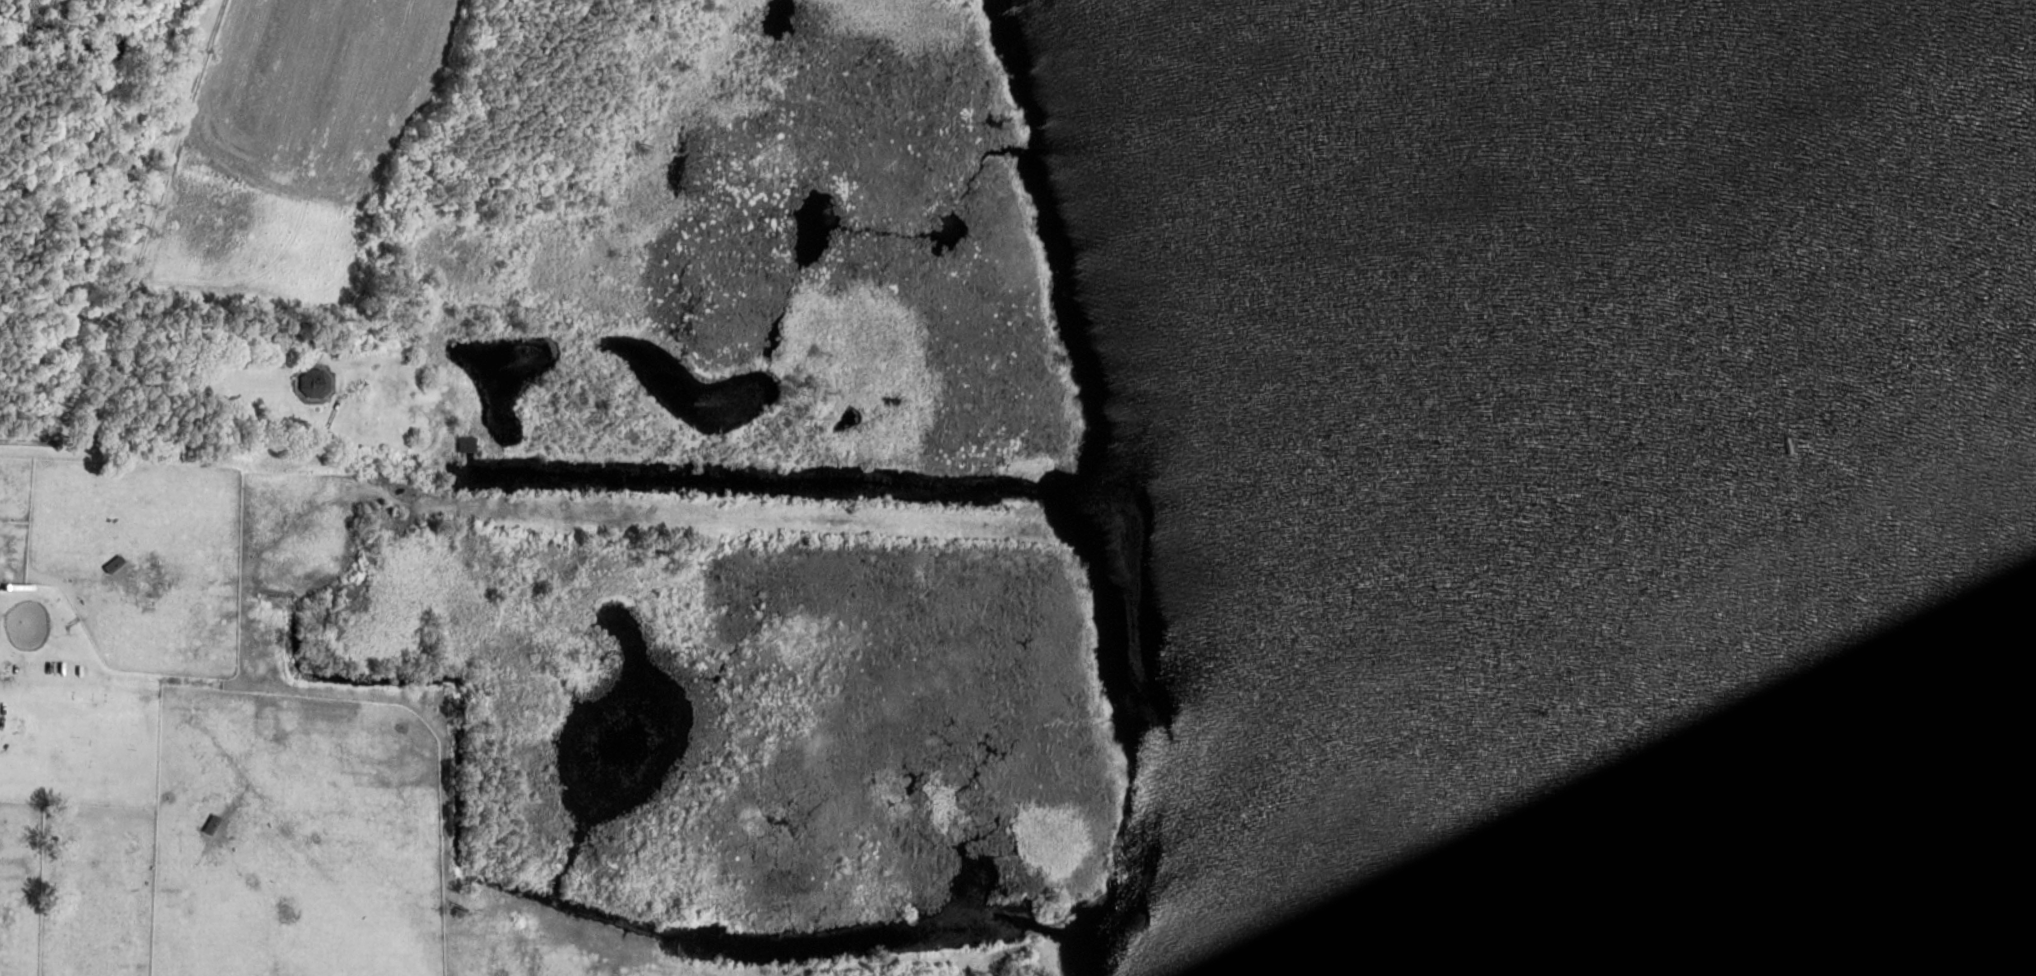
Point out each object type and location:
road: (153, 220)
building: (337, 339)
building: (273, 346)
building: (314, 382)
road: (171, 444)
building: (469, 444)

